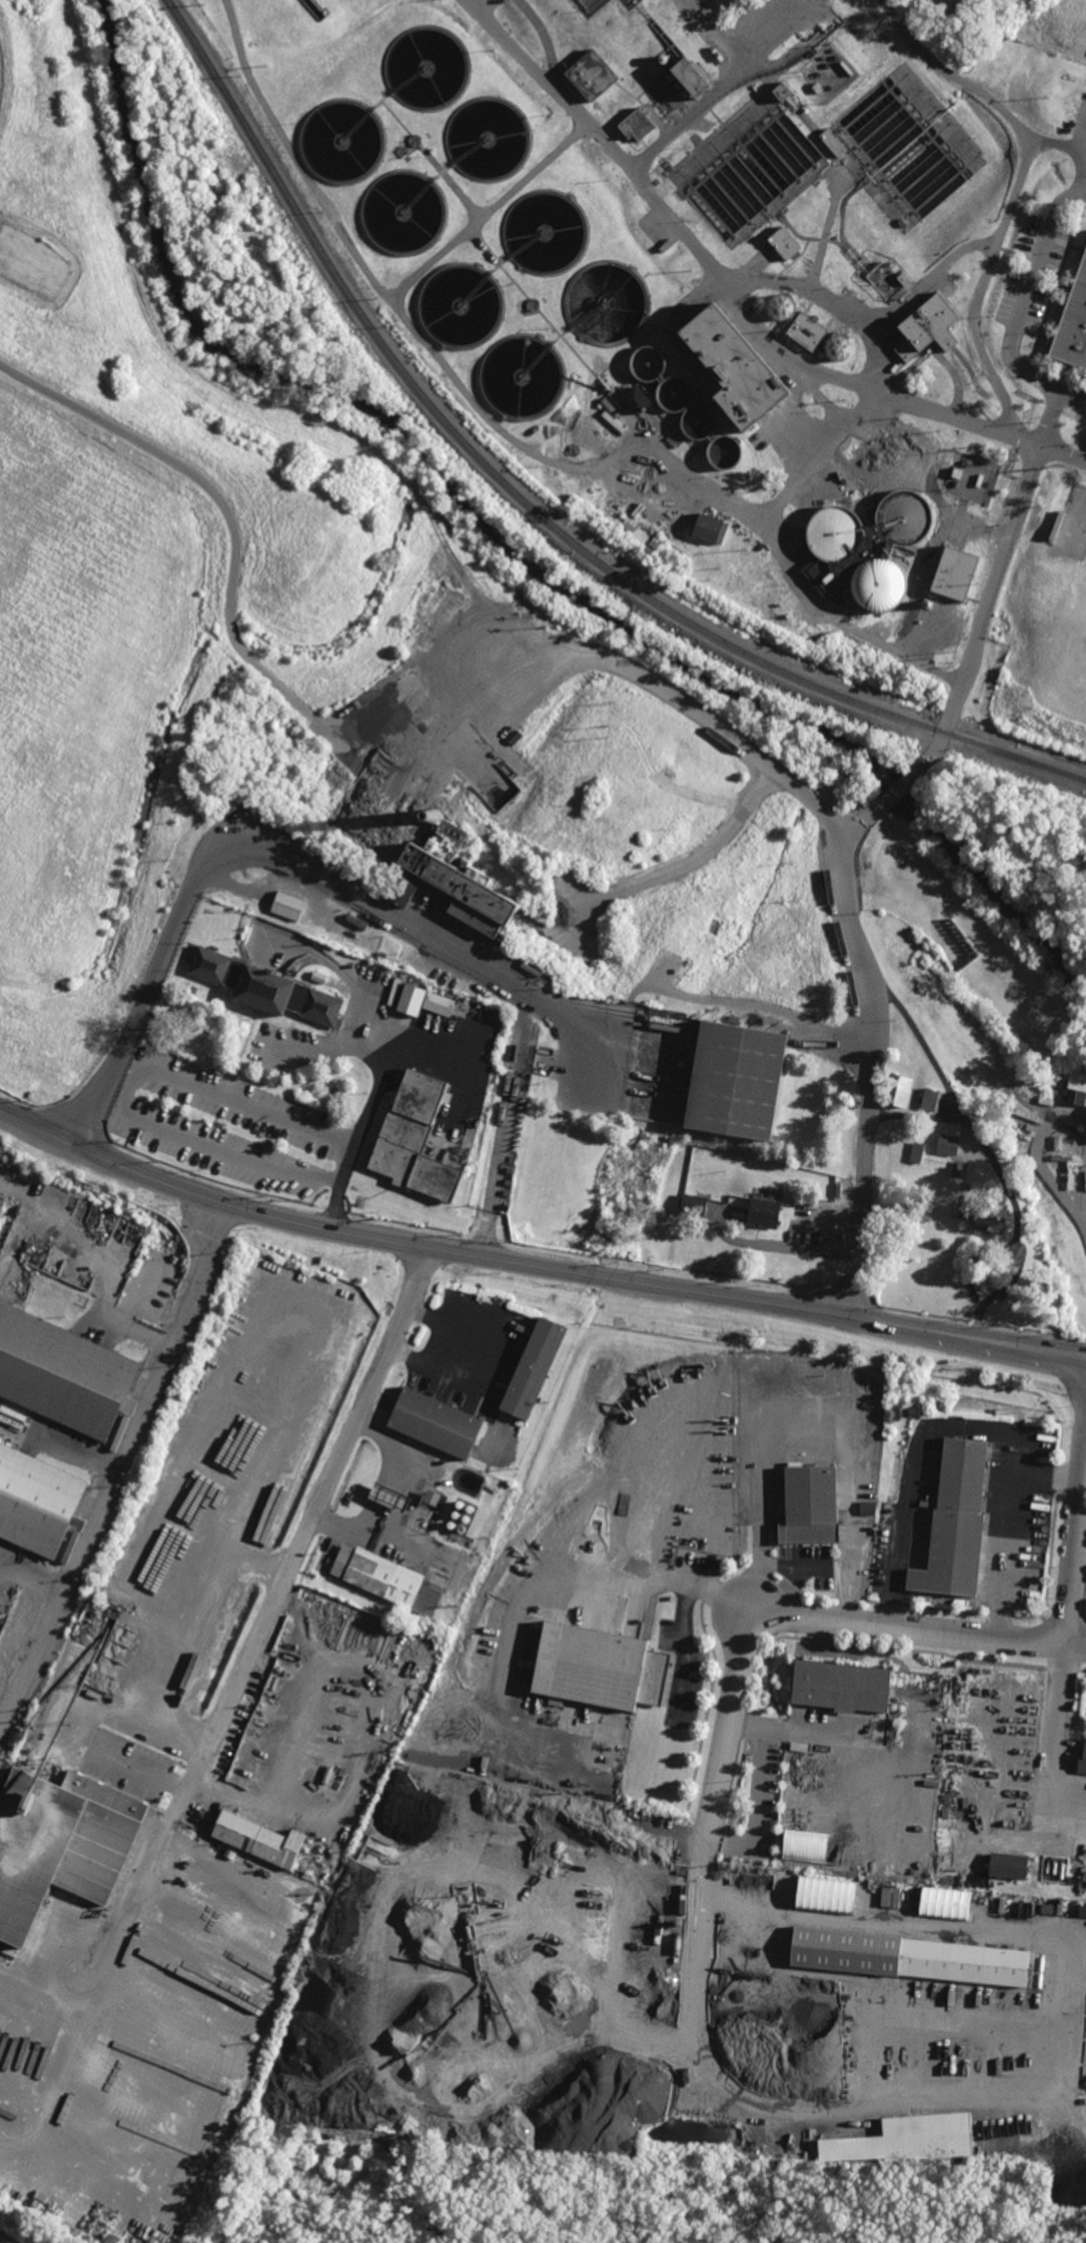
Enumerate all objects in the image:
building: (631, 3)
storage tank: (631, 3)
building: (590, 6)
storage tank: (590, 6)
building: (426, 68)
storage tank: (426, 68)
building: (691, 73)
building: (592, 74)
road: (712, 90)
building: (782, 90)
building: (636, 123)
building: (487, 138)
storage tank: (487, 138)
building: (342, 140)
storage tank: (342, 140)
building: (904, 147)
storage tank: (904, 147)
building: (747, 169)
storage tank: (747, 169)
road: (1015, 191)
building: (404, 211)
storage tank: (404, 211)
road: (663, 212)
building: (545, 231)
storage tank: (545, 231)
building: (786, 242)
park: (32, 261)
wastewater plant: (717, 276)
building: (887, 280)
road: (1029, 286)
building: (606, 302)
storage tank: (606, 302)
building: (462, 305)
storage tank: (462, 305)
building: (782, 305)
storage tank: (782, 305)
building: (1073, 324)
building: (929, 328)
building: (808, 330)
building: (839, 346)
storage tank: (839, 346)
building: (647, 363)
storage tank: (647, 363)
building: (736, 366)
building: (523, 375)
storage tank: (523, 375)
road: (1072, 388)
building: (674, 393)
storage tank: (674, 393)
building: (637, 400)
road: (485, 410)
road: (1048, 414)
road: (958, 419)
building: (698, 421)
storage tank: (698, 421)
building: (725, 452)
storage tank: (725, 452)
road: (1062, 454)
building: (891, 459)
railway: (531, 504)
building: (630, 523)
building: (711, 529)
building: (836, 533)
storage tank: (836, 533)
building: (657, 542)
building: (893, 551)
storage tank: (893, 551)
building: (672, 552)
building: (956, 574)
road: (991, 595)
road: (671, 695)
road: (925, 761)
road: (895, 792)
building: (885, 858)
road: (681, 865)
building: (457, 883)
building: (914, 891)
building: (288, 904)
road: (391, 914)
road: (343, 975)
building: (267, 985)
building: (439, 1003)
road: (135, 1020)
road: (330, 1052)
road: (878, 1052)
building: (736, 1078)
road: (127, 1085)
building: (899, 1088)
building: (1077, 1088)
road: (370, 1095)
building: (932, 1098)
road: (917, 1118)
road: (505, 1127)
building: (958, 1137)
building: (415, 1139)
building: (948, 1145)
road: (988, 1150)
building: (917, 1153)
building: (961, 1164)
road: (1045, 1171)
railway: (16, 1188)
building: (692, 1204)
building: (764, 1213)
building: (984, 1215)
road: (1085, 1228)
road: (975, 1264)
road: (533, 1266)
road: (172, 1339)
road: (438, 1345)
building: (535, 1369)
building: (63, 1374)
building: (438, 1424)
road: (913, 1464)
building: (86, 1470)
building: (433, 1498)
building: (385, 1499)
building: (38, 1502)
building: (460, 1503)
building: (811, 1505)
building: (470, 1508)
building: (455, 1513)
road: (766, 1516)
building: (466, 1519)
road: (312, 1521)
building: (451, 1523)
building: (956, 1523)
building: (462, 1529)
road: (1004, 1530)
road: (1075, 1546)
road: (775, 1563)
building: (386, 1579)
road: (671, 1582)
road: (59, 1599)
road: (798, 1616)
road: (682, 1650)
building: (600, 1667)
building: (842, 1686)
road: (1055, 1742)
building: (1082, 1759)
building: (336, 1781)
building: (654, 1825)
building: (259, 1838)
building: (61, 1843)
building: (804, 1847)
building: (1008, 1865)
building: (825, 1894)
building: (893, 1898)
building: (944, 1903)
building: (1082, 1910)
building: (906, 1957)
building: (445, 2123)
building: (435, 2126)
park: (565, 2200)
building: (113, 2240)

